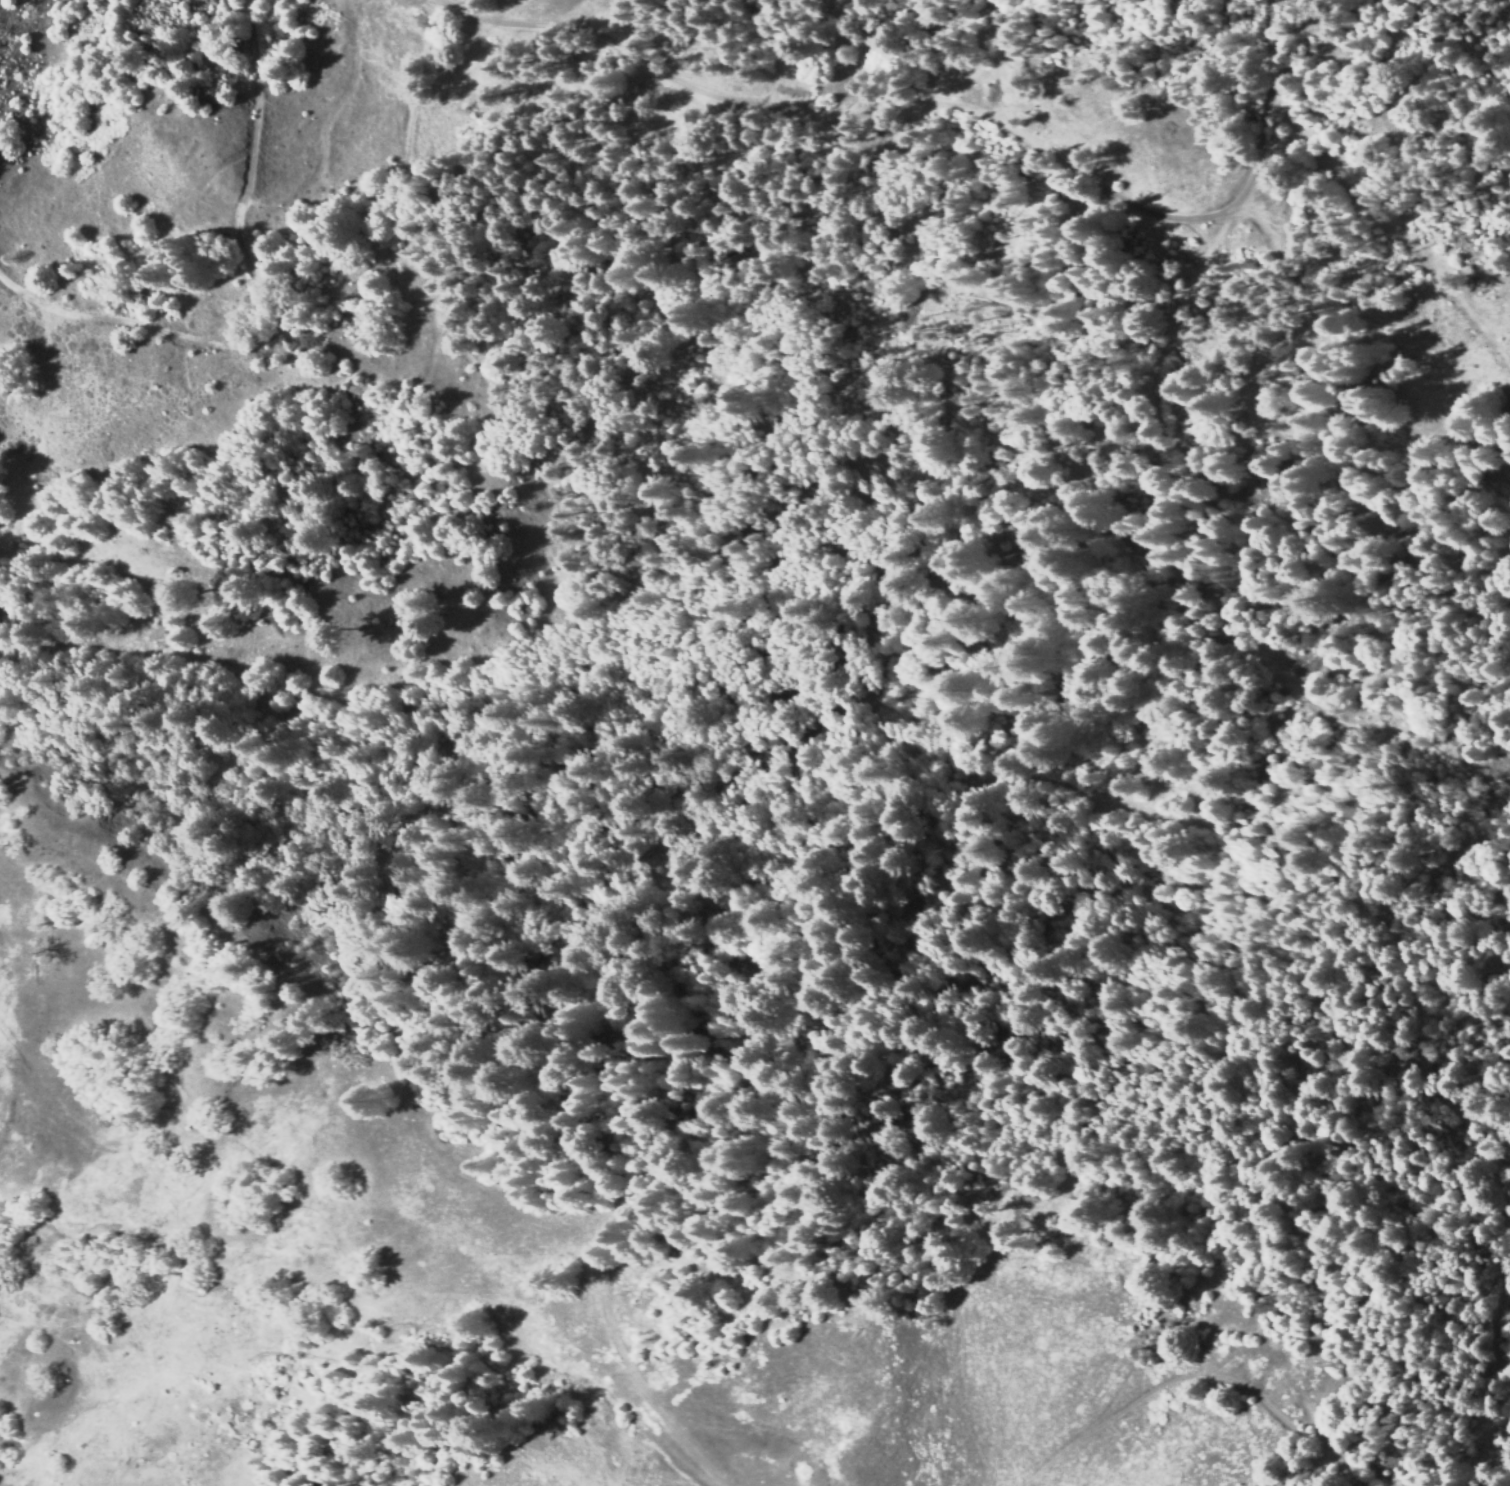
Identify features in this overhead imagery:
road: (1148, 840)
road: (1192, 1376)

